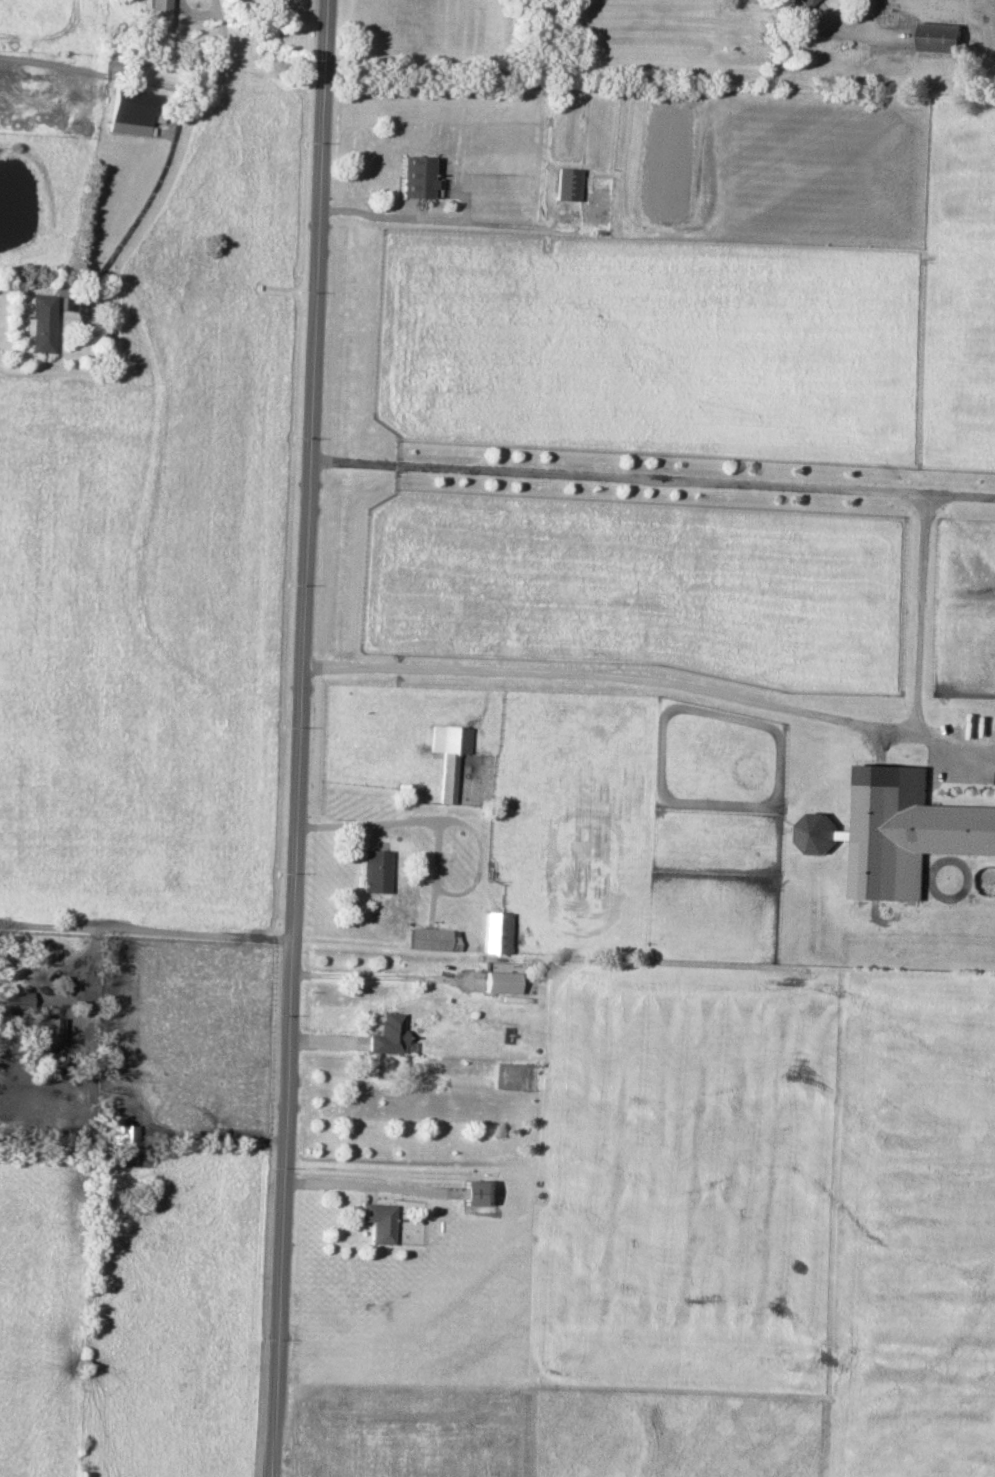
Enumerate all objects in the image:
building: (815, 8)
road: (195, 14)
building: (158, 15)
road: (867, 18)
road: (856, 34)
building: (941, 37)
building: (129, 112)
road: (167, 157)
building: (417, 176)
building: (565, 183)
road: (392, 204)
building: (38, 323)
road: (961, 498)
road: (922, 615)
road: (956, 733)
road: (299, 738)
building: (448, 755)
building: (410, 792)
road: (370, 817)
building: (908, 831)
building: (816, 833)
building: (374, 870)
road: (182, 927)
building: (495, 932)
building: (433, 939)
road: (380, 977)
building: (501, 982)
building: (14, 999)
building: (45, 1030)
building: (388, 1034)
building: (122, 1134)
road: (361, 1178)
building: (480, 1193)
building: (378, 1221)

